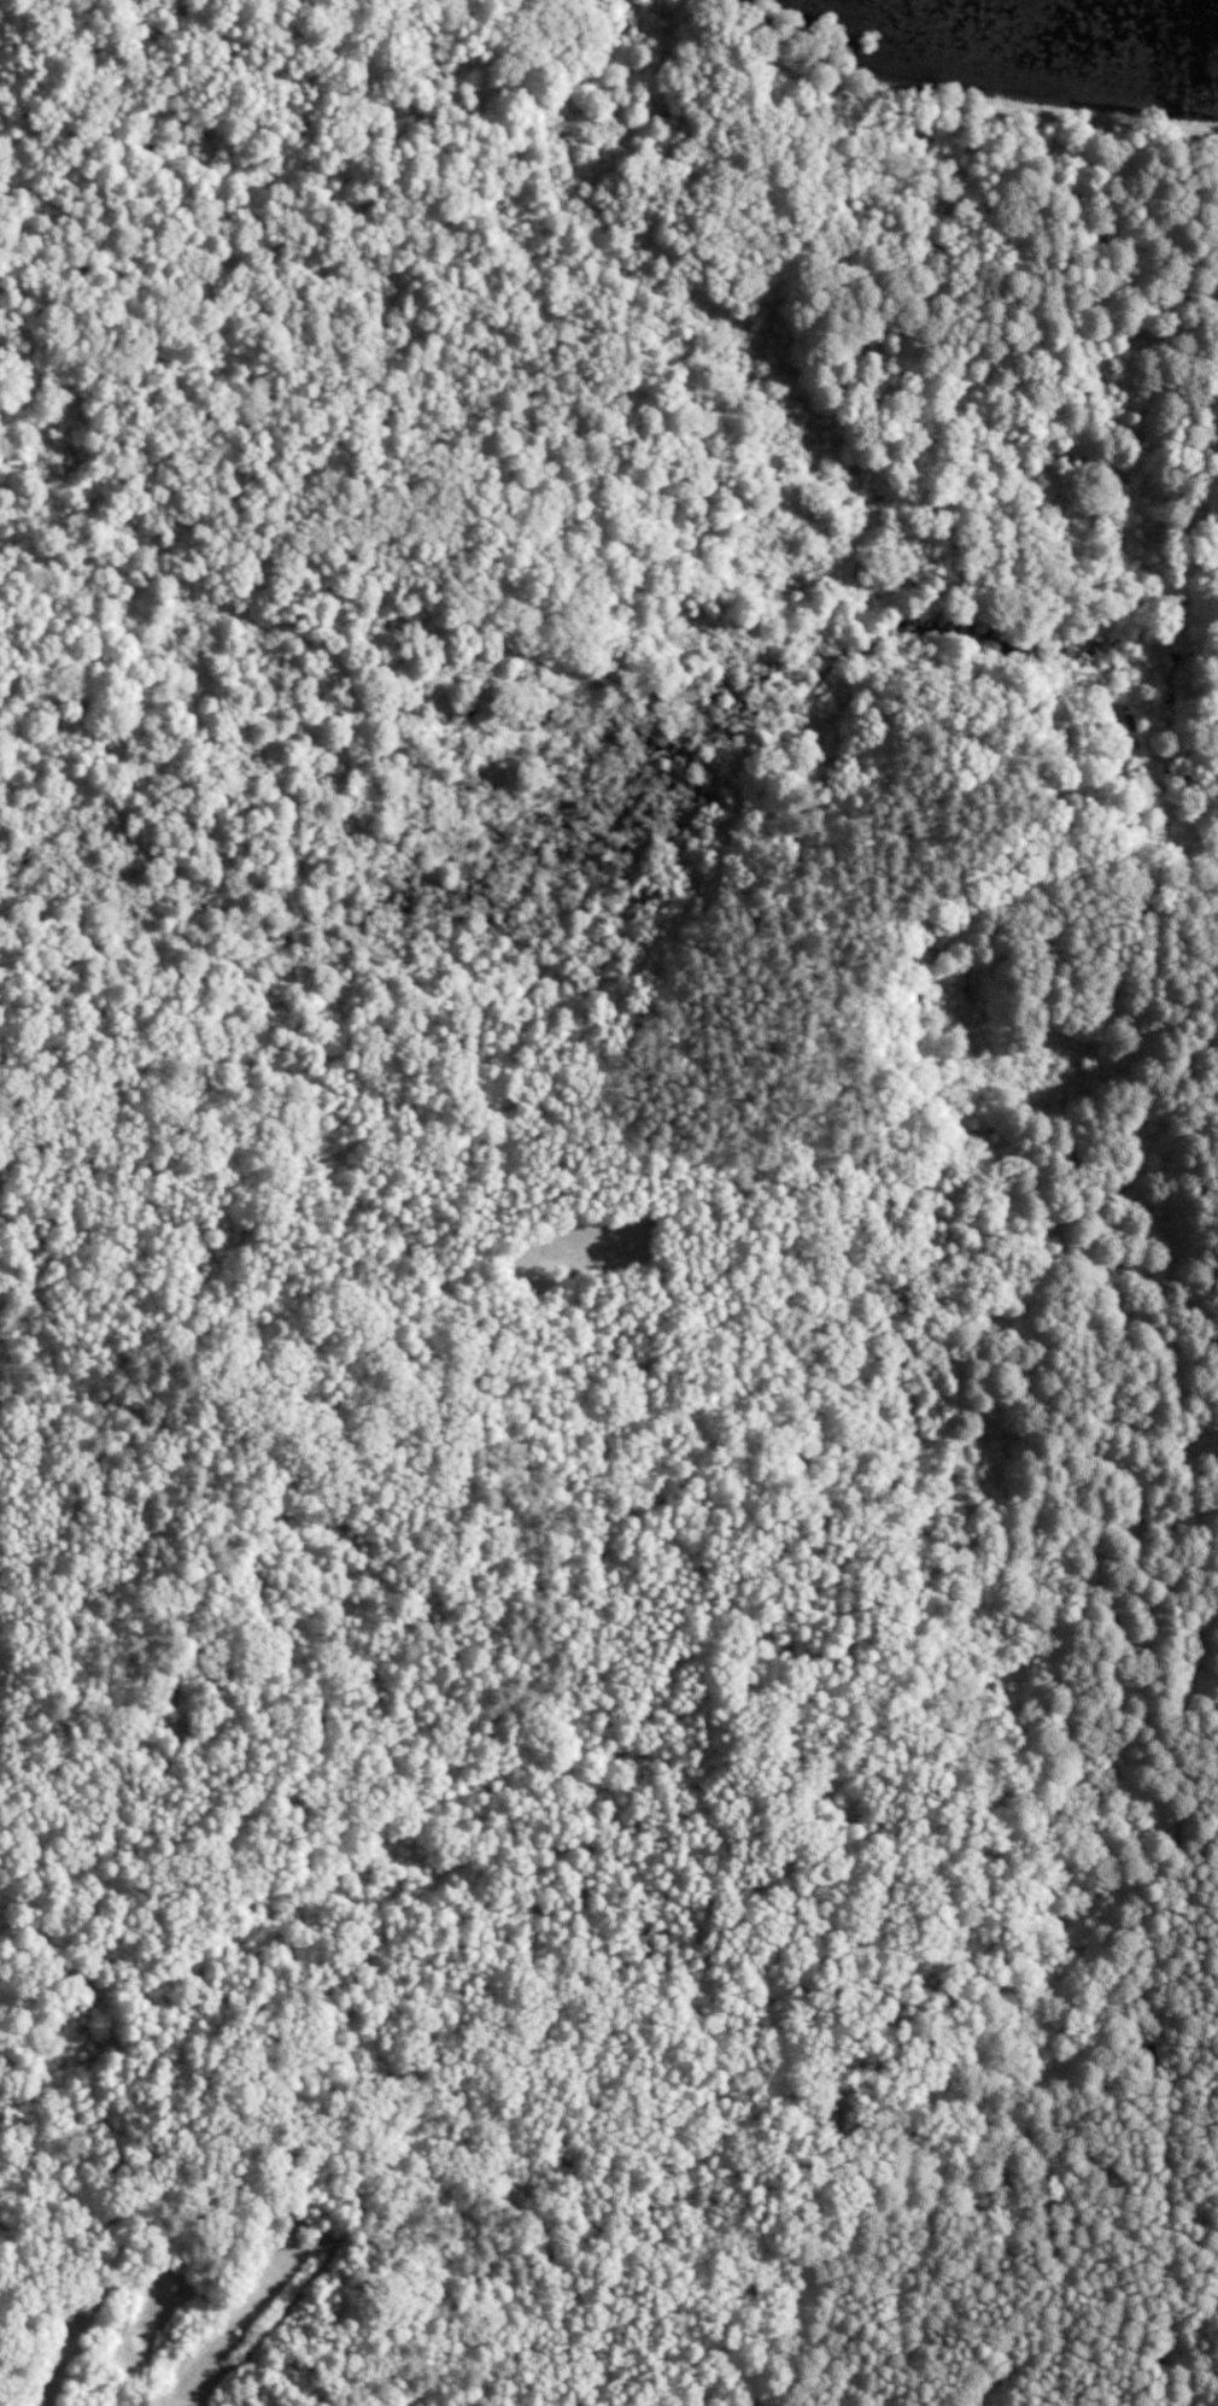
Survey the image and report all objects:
road: (947, 109)
park: (708, 900)

